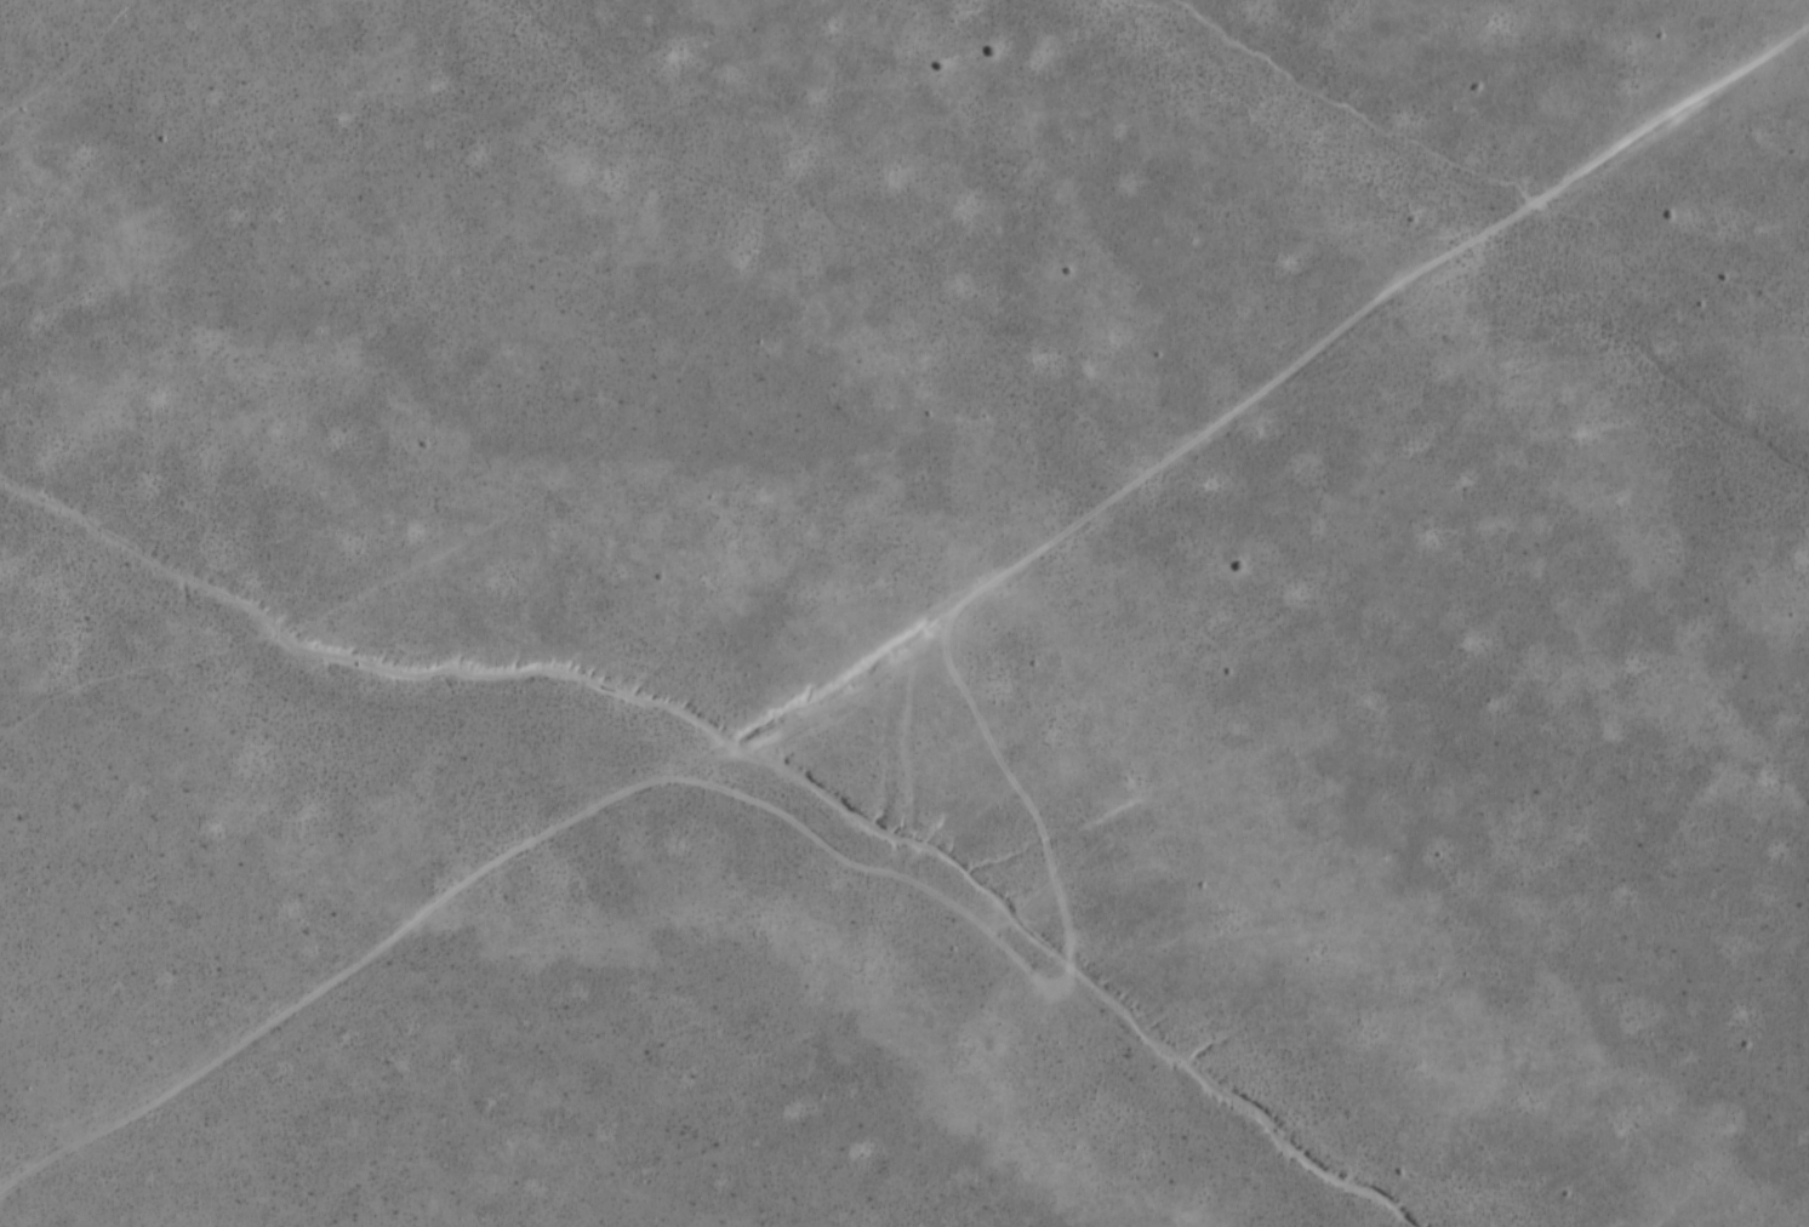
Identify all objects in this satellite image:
road: (1043, 822)

